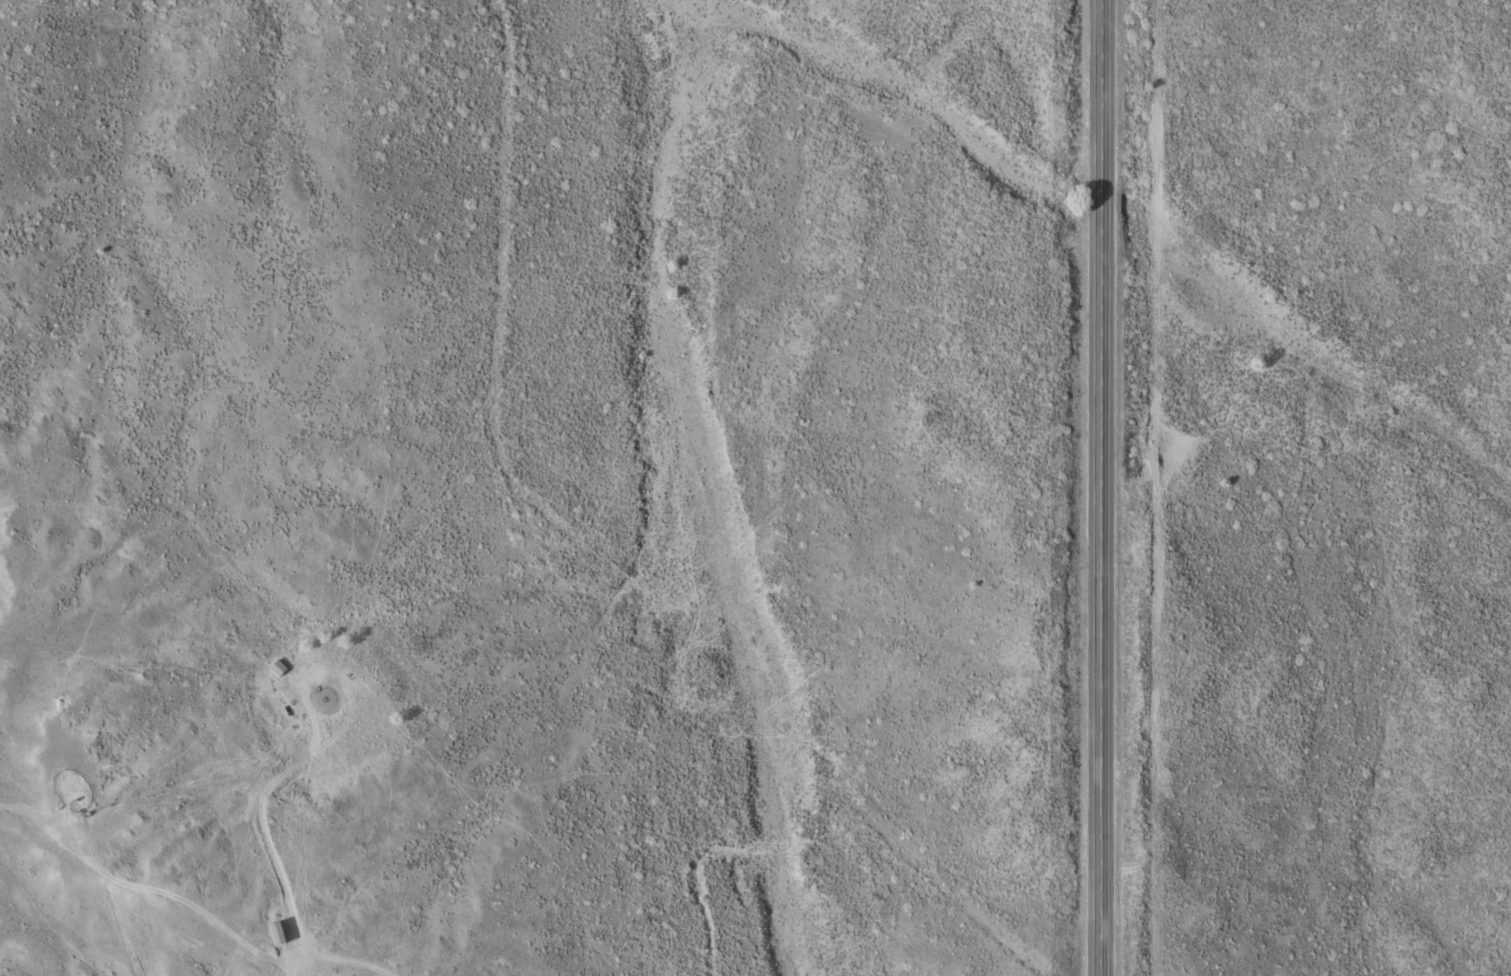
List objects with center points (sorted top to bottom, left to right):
road: (1114, 488)

